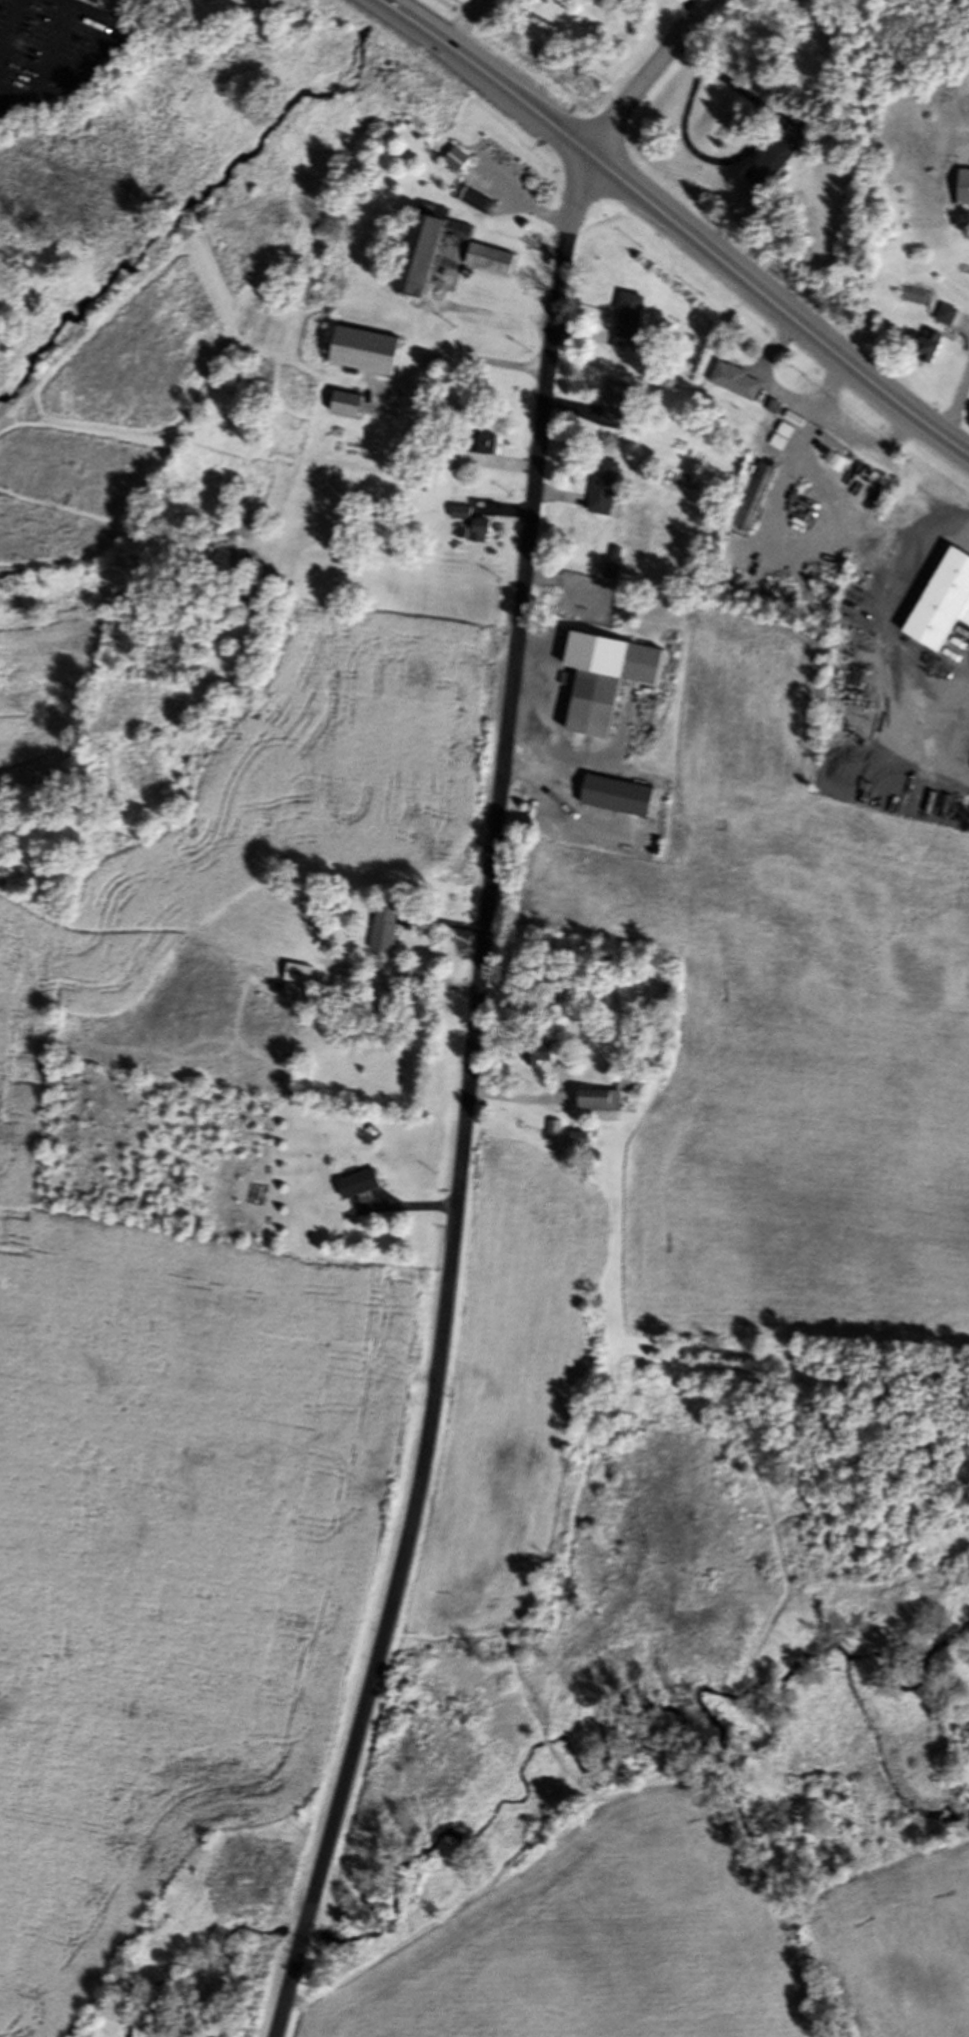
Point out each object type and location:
park: (438, 14)
road: (79, 64)
road: (648, 76)
building: (458, 163)
building: (775, 164)
building: (964, 192)
road: (677, 227)
building: (433, 256)
building: (493, 264)
building: (635, 311)
building: (945, 319)
building: (930, 350)
building: (371, 356)
road: (454, 356)
building: (739, 385)
road: (954, 393)
building: (617, 405)
building: (351, 409)
building: (782, 442)
building: (487, 447)
building: (606, 491)
building: (758, 503)
building: (475, 528)
building: (612, 570)
building: (944, 607)
road: (887, 659)
building: (607, 684)
building: (618, 800)
building: (387, 932)
building: (302, 977)
building: (347, 990)
building: (542, 1056)
road: (522, 1097)
road: (459, 1101)
building: (606, 1104)
building: (582, 1142)
building: (365, 1187)

